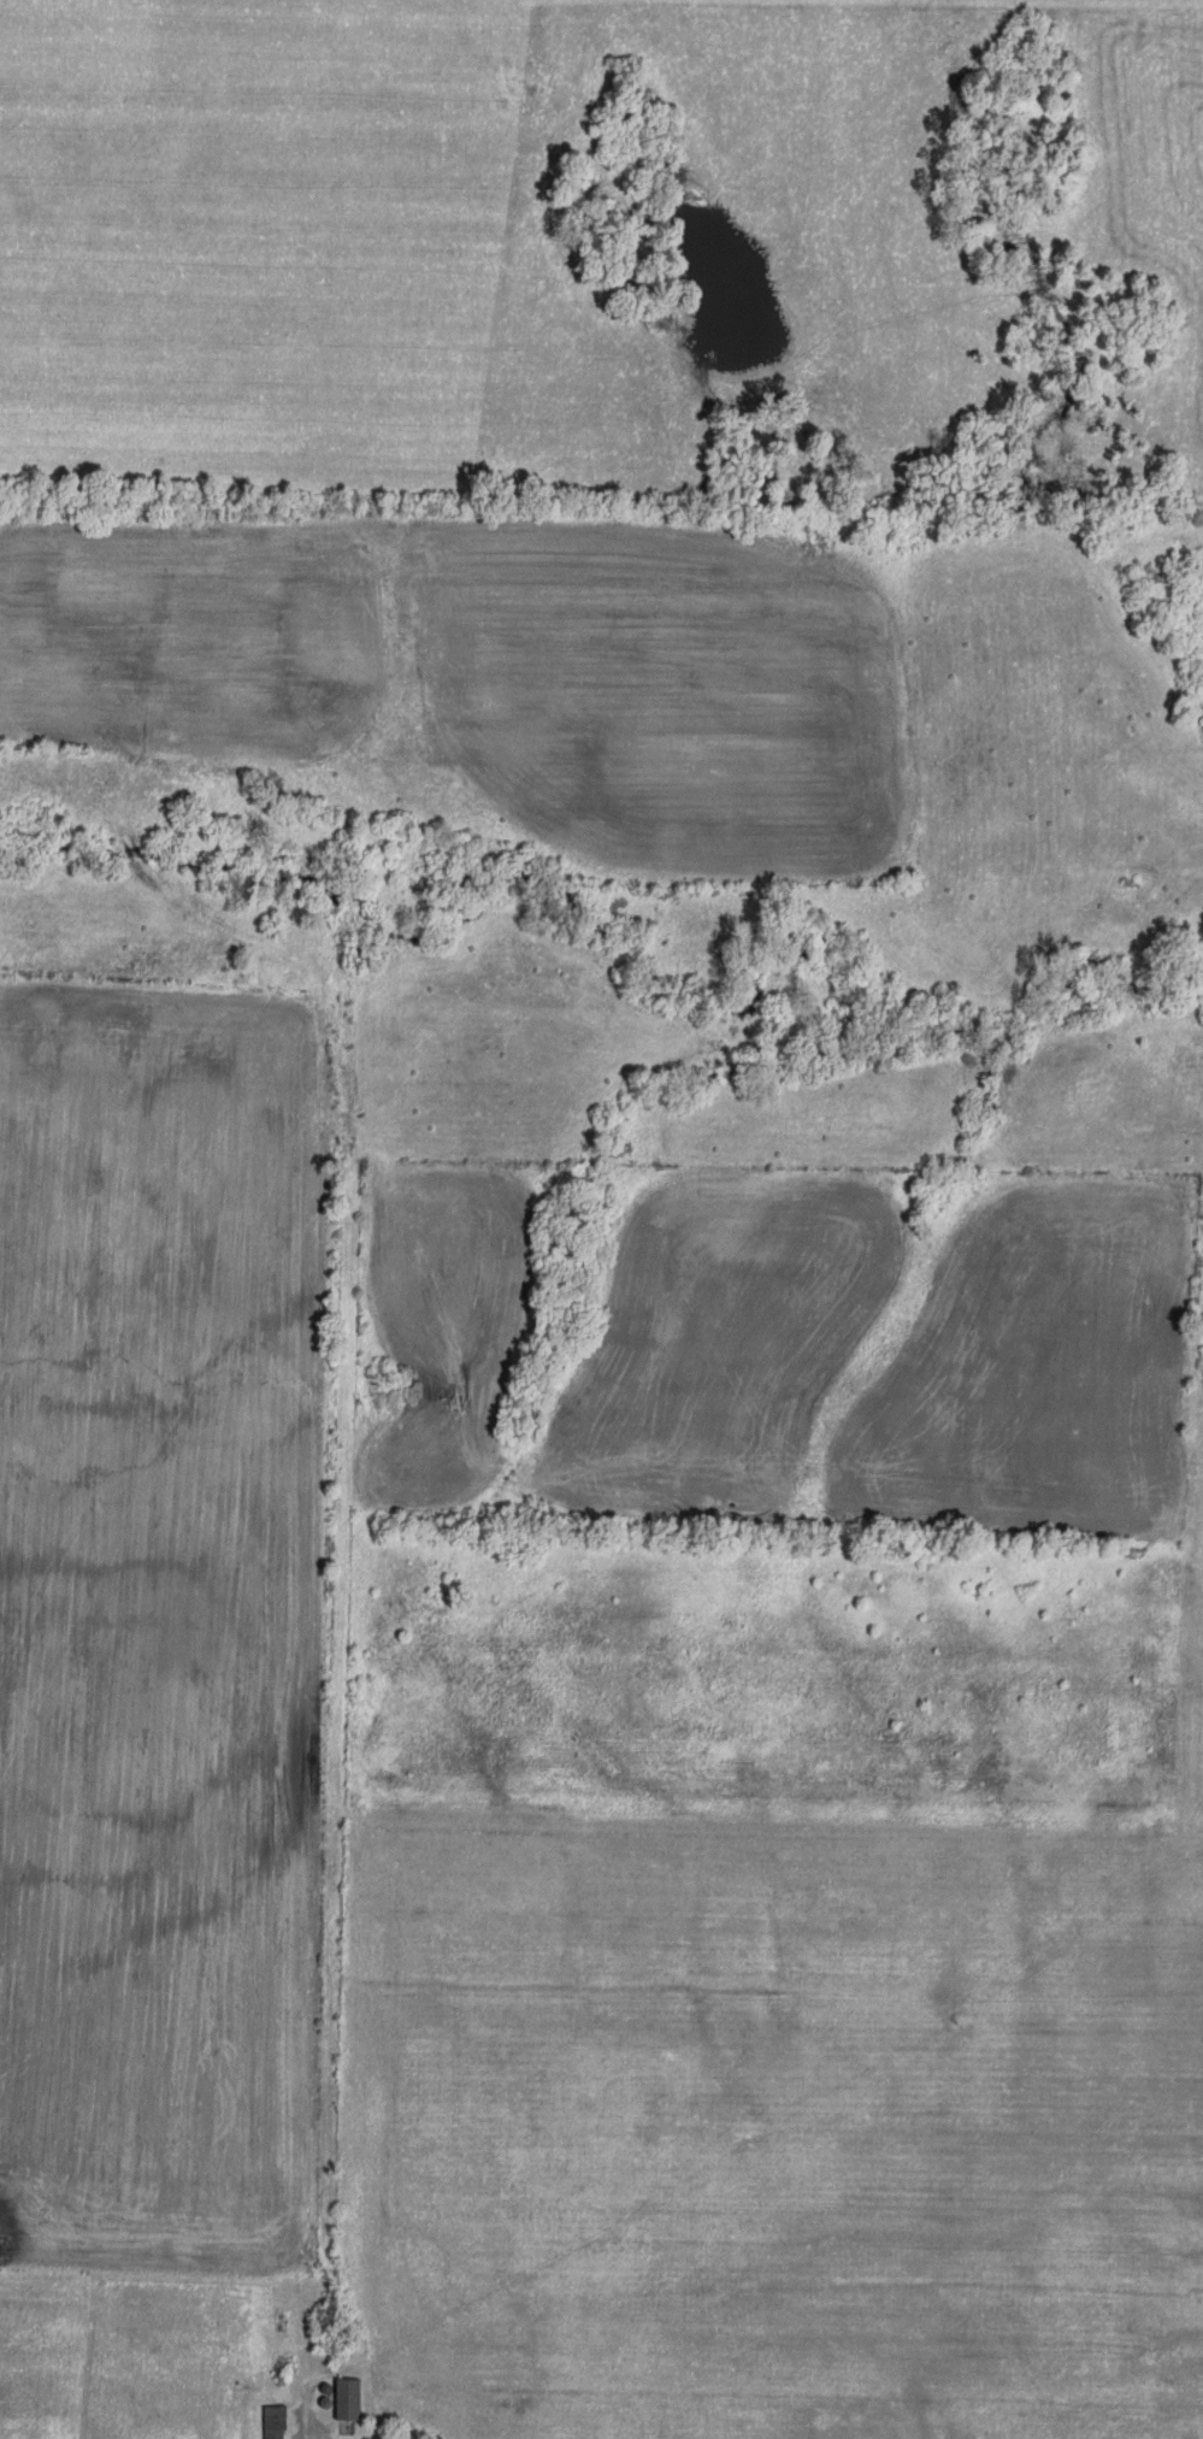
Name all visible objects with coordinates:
building: (347, 2394)
building: (273, 2420)

